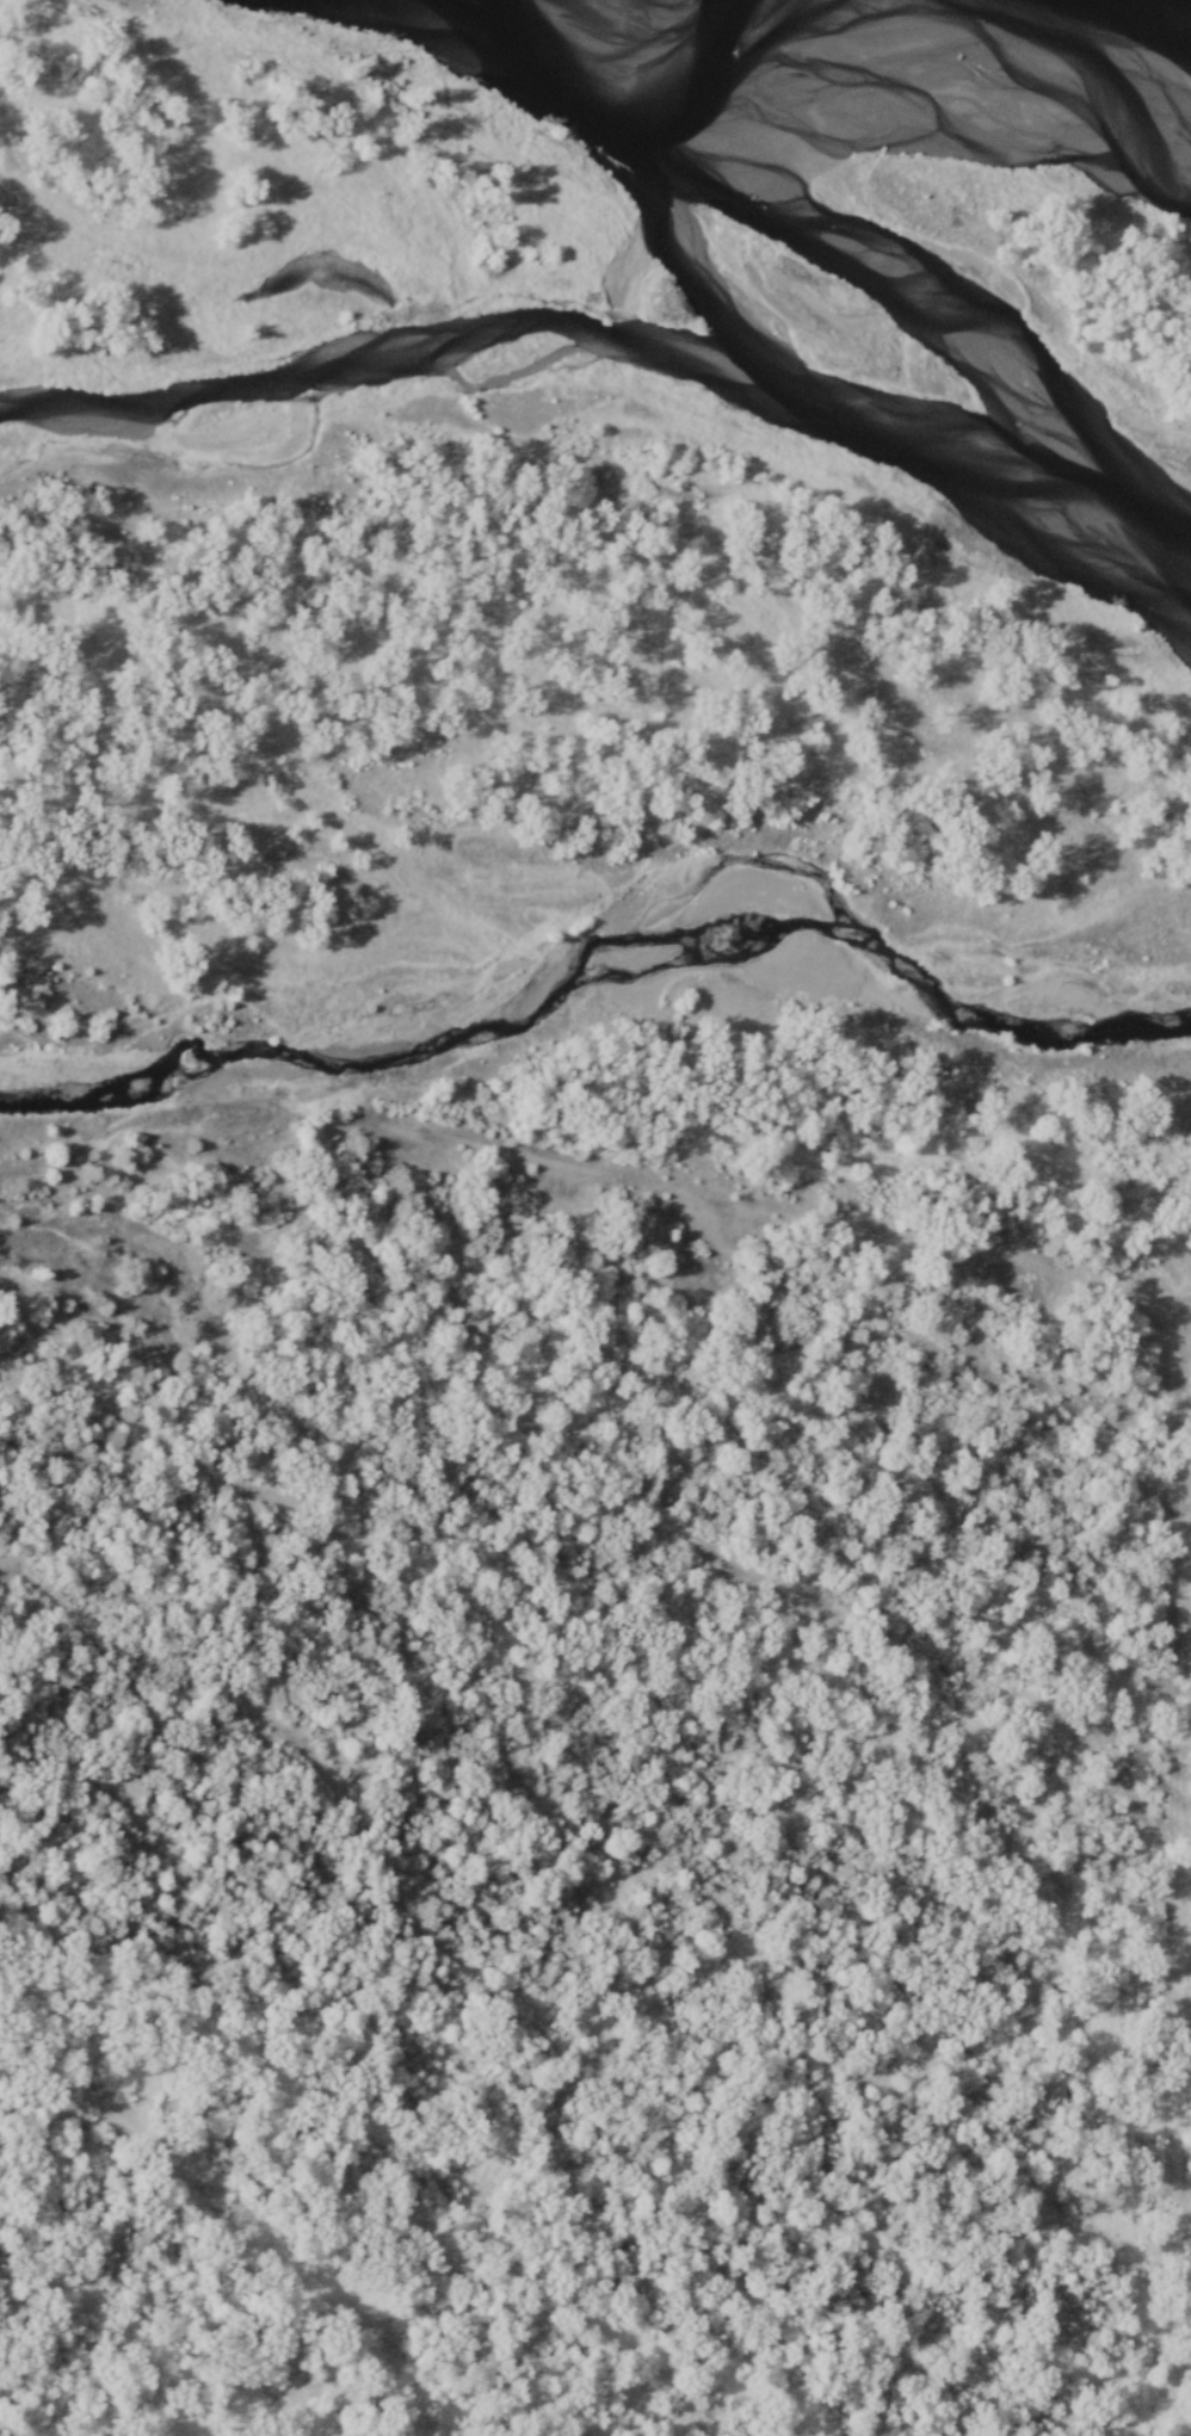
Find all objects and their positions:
river: (944, 50)

